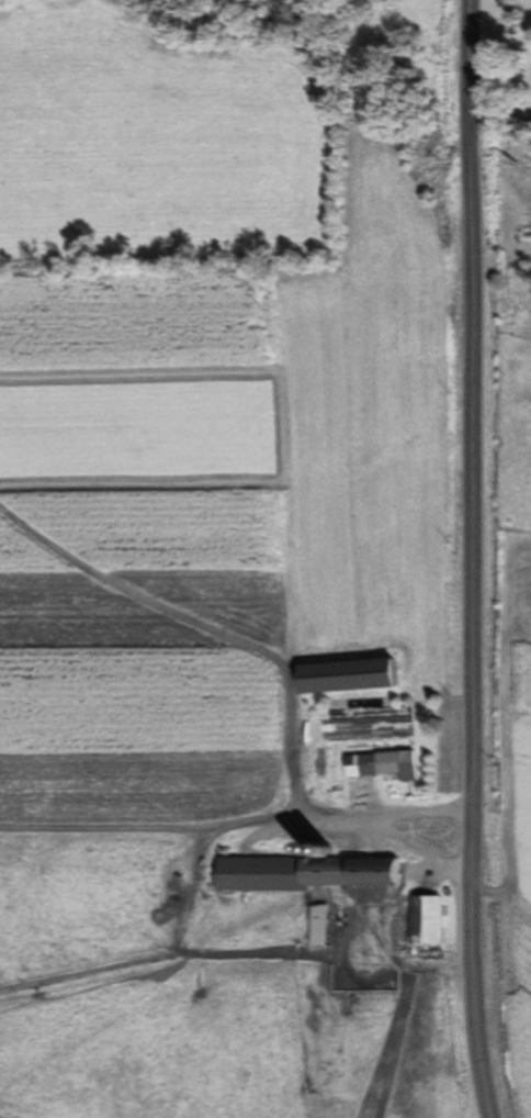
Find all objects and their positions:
road: (498, 108)
road: (463, 560)
building: (392, 765)
building: (334, 774)
building: (372, 891)

